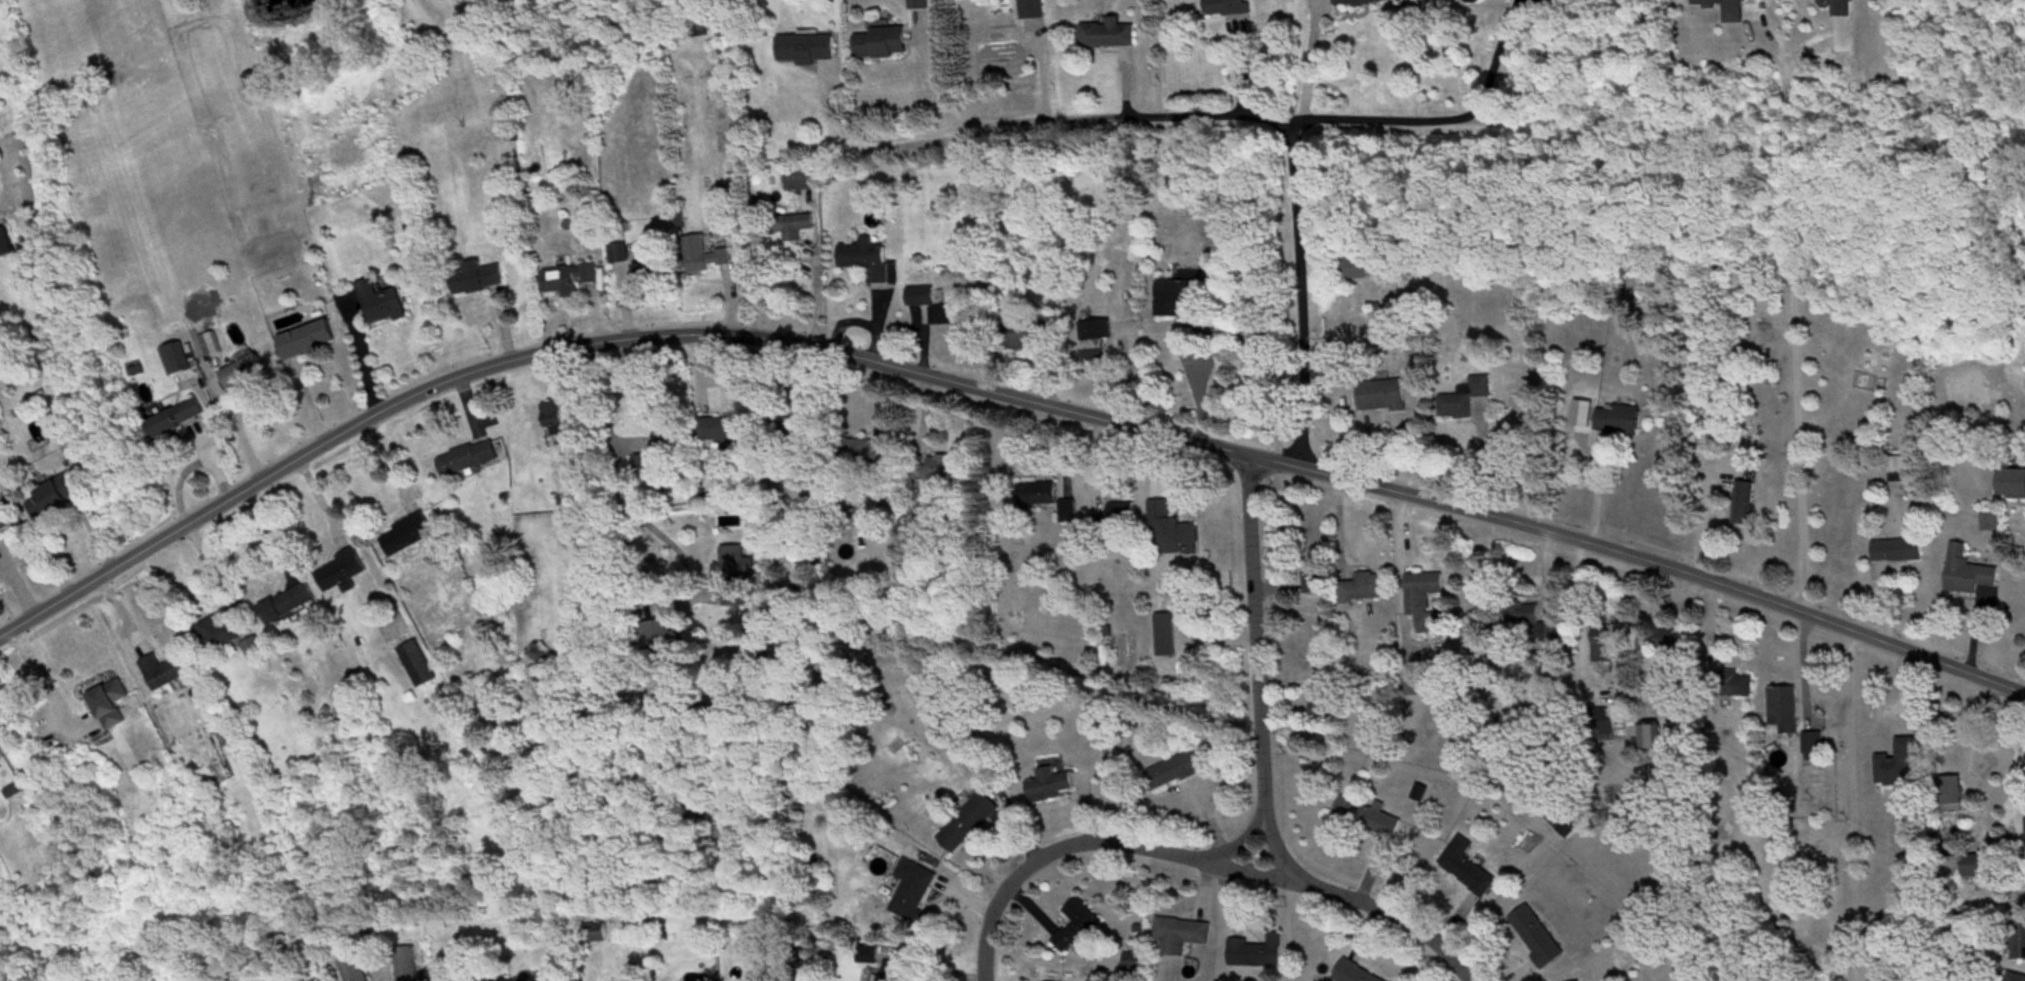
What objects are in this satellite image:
building: (1476, 0)
building: (1361, 2)
building: (920, 5)
building: (1228, 8)
building: (1840, 8)
building: (1727, 9)
building: (1033, 16)
building: (1108, 36)
building: (880, 44)
building: (807, 50)
road: (1311, 56)
building: (254, 87)
road: (1440, 107)
road: (907, 138)
road: (1298, 151)
building: (802, 180)
building: (794, 228)
building: (6, 245)
building: (704, 257)
building: (866, 261)
building: (1356, 269)
building: (649, 276)
building: (478, 280)
building: (570, 280)
building: (1178, 298)
building: (382, 305)
building: (934, 308)
building: (1023, 339)
building: (1096, 340)
building: (307, 341)
building: (178, 360)
building: (1257, 365)
building: (244, 374)
road: (994, 395)
building: (1383, 398)
building: (1464, 401)
building: (177, 420)
building: (553, 420)
building: (1620, 422)
building: (727, 433)
building: (669, 438)
building: (864, 454)
building: (468, 460)
road: (616, 461)
building: (641, 466)
building: (934, 470)
building: (1899, 470)
building: (2011, 486)
building: (1039, 496)
building: (53, 499)
building: (1745, 506)
building: (1069, 513)
building: (1123, 515)
building: (6, 519)
road: (270, 533)
building: (406, 536)
building: (1171, 536)
building: (899, 550)
building: (1898, 553)
road: (216, 574)
building: (342, 574)
building: (1968, 574)
building: (736, 576)
building: (1314, 579)
building: (1366, 589)
building: (1426, 603)
building: (287, 604)
building: (1523, 617)
building: (218, 633)
building: (1477, 635)
building: (661, 638)
building: (1674, 640)
building: (1603, 646)
building: (253, 649)
road: (1252, 664)
building: (418, 665)
building: (162, 673)
road: (45, 680)
building: (1322, 694)
building: (110, 705)
building: (1784, 711)
building: (918, 717)
building: (1604, 721)
building: (1648, 739)
building: (1, 754)
building: (1898, 766)
building: (1179, 770)
building: (1048, 787)
building: (13, 791)
building: (1952, 795)
building: (1372, 820)
building: (1562, 822)
building: (968, 823)
road: (1075, 843)
building: (1532, 844)
building: (1975, 868)
building: (1467, 869)
building: (913, 891)
building: (2020, 898)
road: (1373, 910)
building: (1077, 928)
building: (1181, 936)
building: (1536, 936)
building: (2019, 941)
building: (1256, 954)
building: (407, 964)
building: (354, 969)
building: (892, 972)
building: (1353, 974)
building: (2015, 977)
building: (479, 979)

